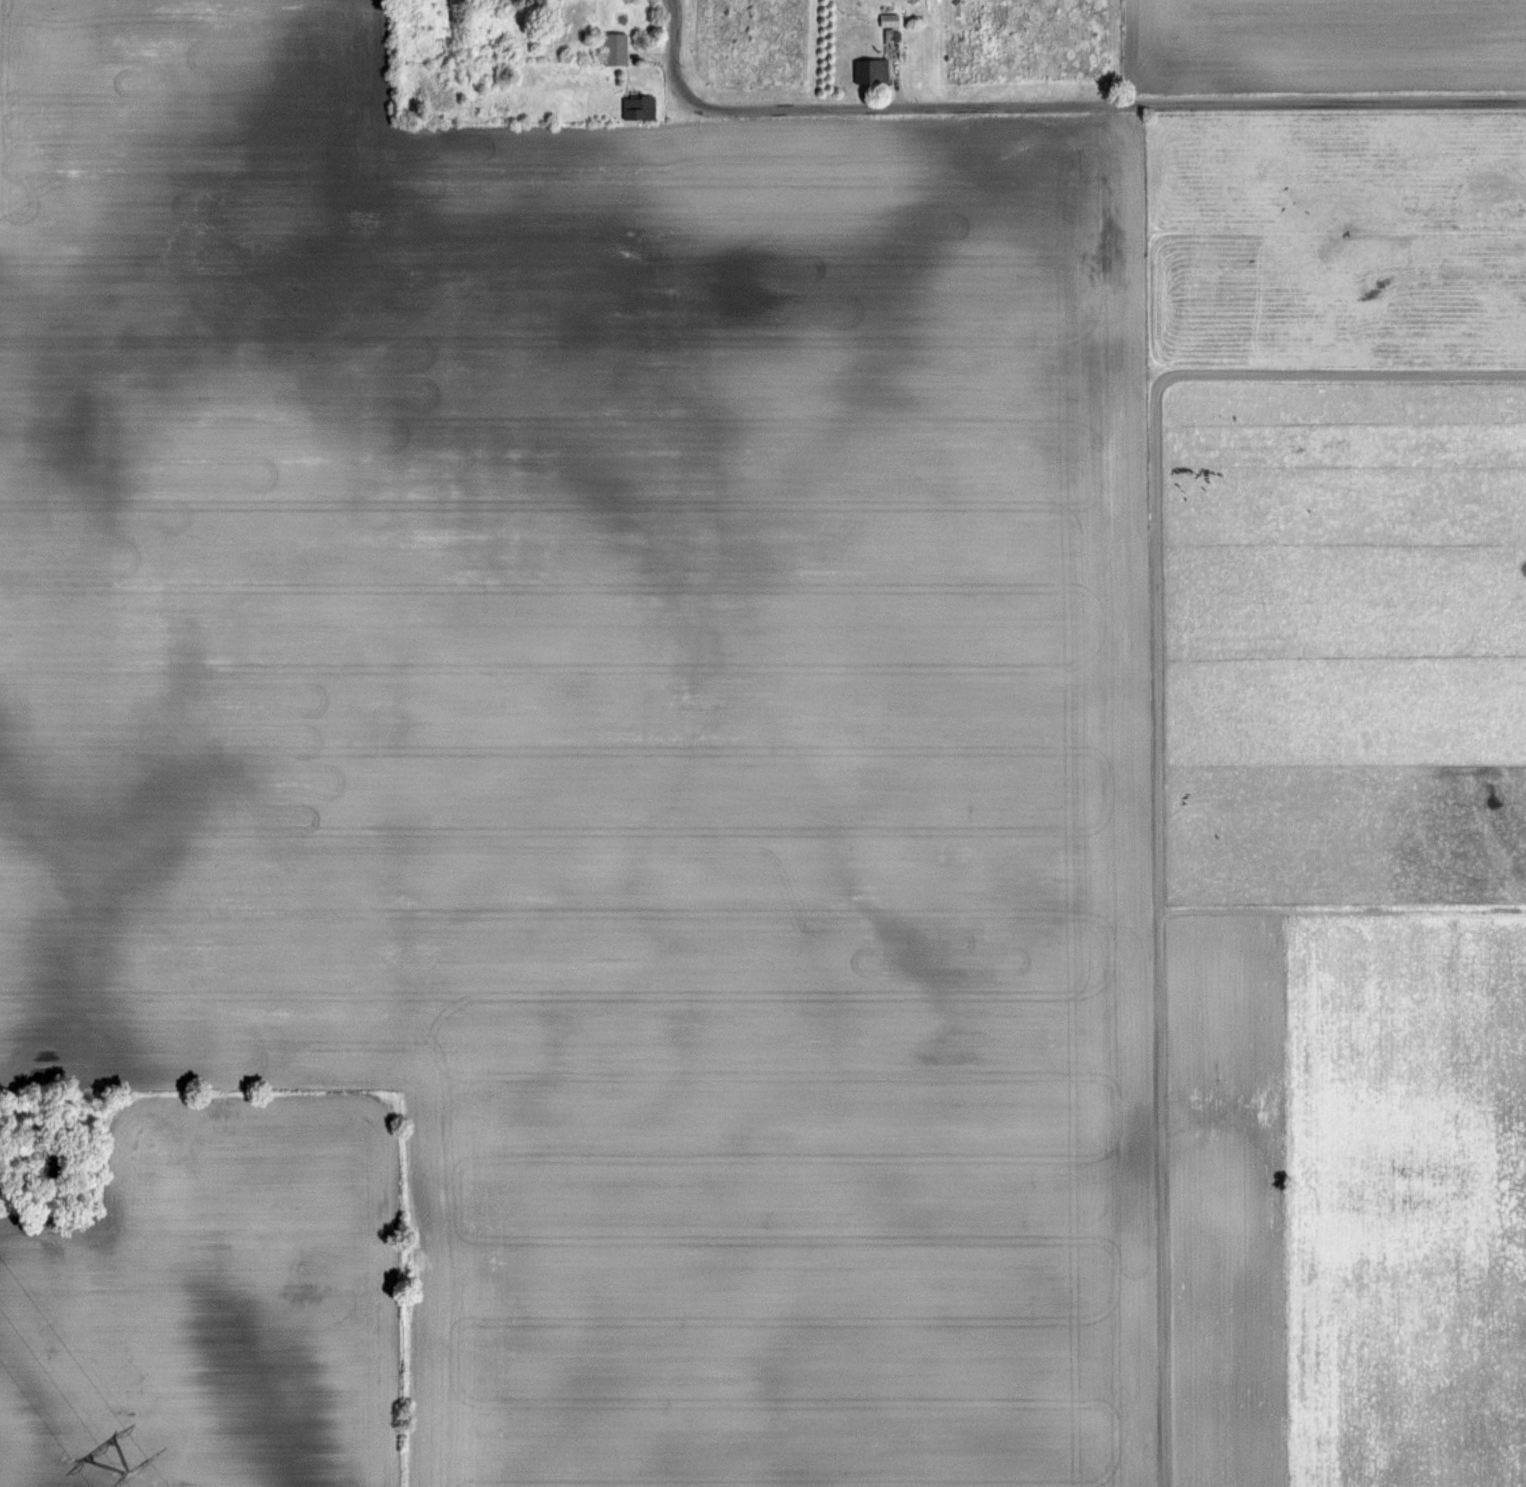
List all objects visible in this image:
building: (614, 48)
building: (870, 69)
road: (899, 94)
road: (1055, 106)
building: (639, 107)
road: (1159, 751)
power tower: (124, 1472)

